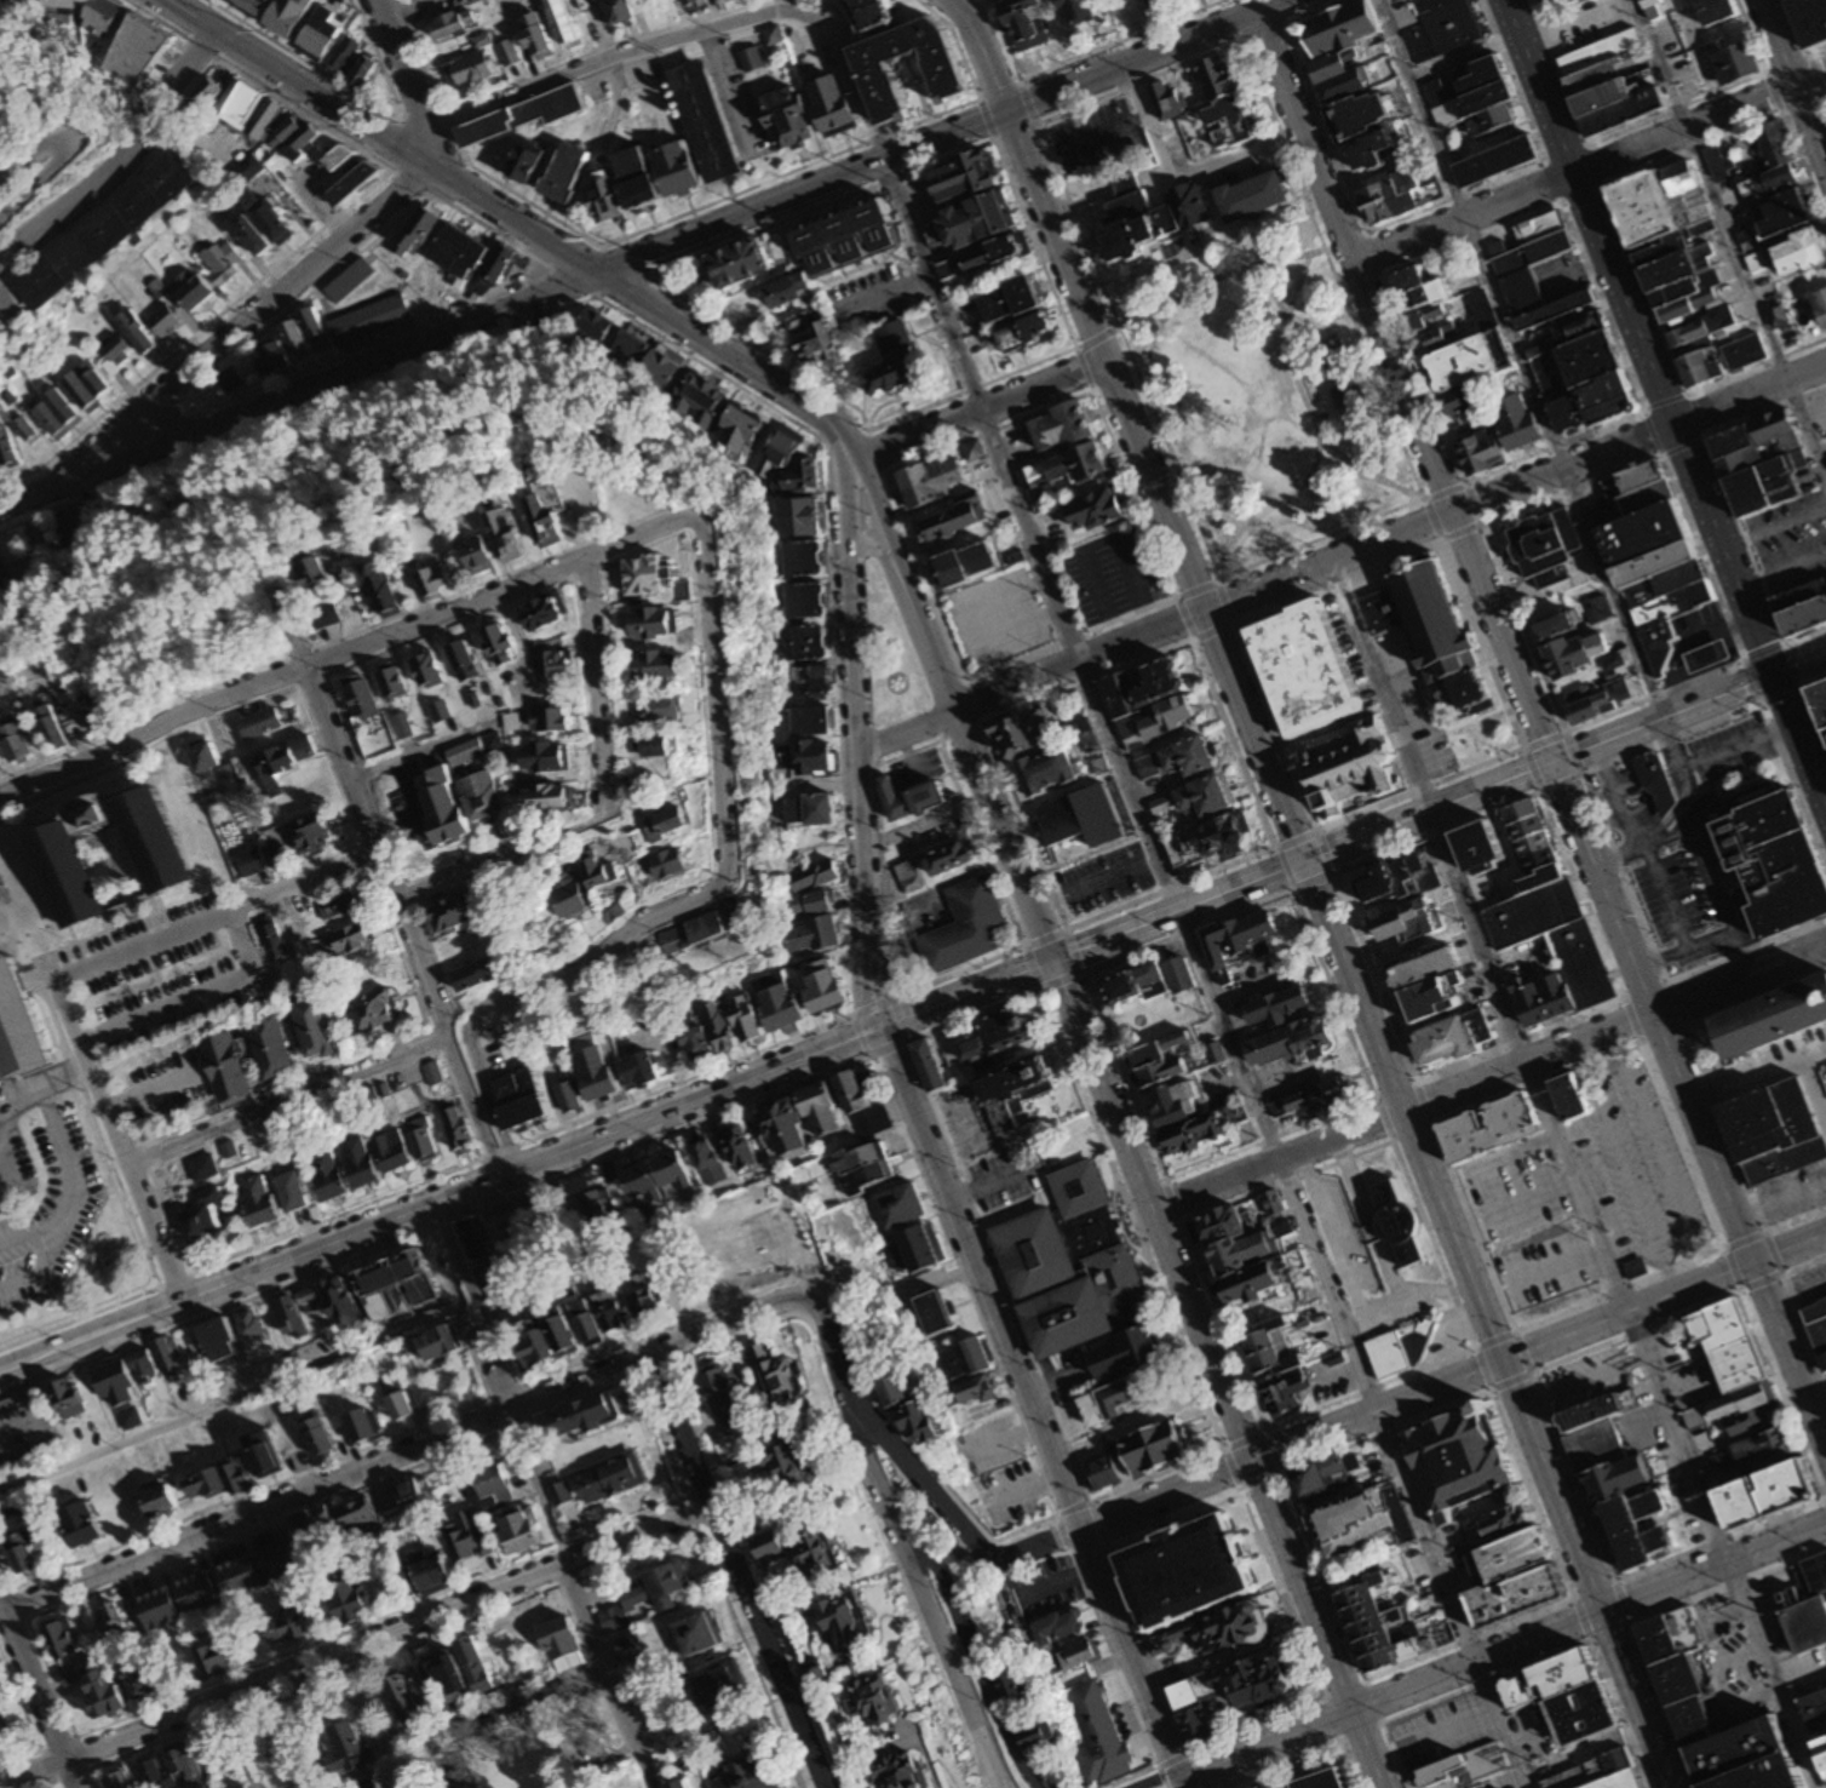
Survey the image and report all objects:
road: (403, 10)
road: (695, 33)
road: (980, 52)
road: (1152, 56)
road: (408, 80)
road: (1793, 85)
road: (1144, 124)
road: (1699, 126)
road: (380, 136)
road: (1279, 136)
road: (1084, 138)
road: (116, 150)
road: (64, 153)
road: (1233, 162)
road: (803, 190)
road: (1074, 216)
road: (1463, 219)
road: (1730, 239)
road: (1334, 245)
road: (690, 258)
road: (1354, 264)
road: (1236, 271)
road: (880, 293)
road: (0, 323)
road: (241, 327)
road: (1109, 333)
road: (1153, 342)
road: (682, 354)
road: (730, 356)
road: (1518, 356)
road: (1078, 357)
road: (1106, 360)
building: (1705, 374)
road: (299, 391)
road: (1746, 395)
building: (1608, 399)
park: (1265, 400)
road: (978, 402)
road: (1385, 403)
road: (1660, 411)
road: (1815, 418)
road: (1164, 436)
road: (1323, 440)
road: (882, 463)
road: (1561, 469)
building: (1767, 485)
road: (1435, 495)
road: (1728, 498)
road: (1429, 510)
road: (1482, 523)
road: (1770, 529)
road: (1321, 539)
road: (871, 544)
road: (1098, 544)
building: (1544, 548)
road: (690, 550)
road: (1328, 561)
road: (1779, 574)
road: (1207, 584)
road: (1223, 590)
road: (450, 595)
building: (1801, 596)
road: (1172, 597)
building: (1382, 611)
building: (1804, 617)
road: (964, 629)
building: (1440, 636)
road: (1503, 636)
road: (1193, 640)
road: (1190, 641)
road: (352, 651)
building: (1655, 651)
park: (890, 658)
road: (1742, 659)
building: (1305, 670)
traffic signals: (1764, 672)
road: (920, 676)
road: (1030, 678)
road: (906, 682)
road: (1803, 687)
road: (872, 692)
road: (584, 698)
road: (714, 700)
building: (1821, 701)
road: (1810, 703)
road: (948, 706)
road: (1455, 726)
road: (1488, 732)
road: (857, 740)
road: (1521, 746)
road: (1733, 747)
road: (417, 751)
building: (1351, 763)
road: (951, 768)
road: (1581, 772)
building: (1653, 775)
road: (1676, 776)
road: (1589, 790)
road: (1541, 792)
road: (601, 800)
road: (1440, 804)
road: (1624, 818)
road: (366, 819)
road: (924, 819)
building: (1083, 819)
road: (384, 837)
building: (1531, 838)
building: (1478, 849)
building: (157, 859)
building: (1774, 859)
road: (727, 865)
road: (369, 872)
road: (1334, 873)
building: (1397, 878)
building: (1538, 879)
road: (1093, 882)
building: (1529, 913)
road: (213, 916)
building: (1407, 921)
building: (965, 925)
road: (1730, 930)
road: (633, 941)
road: (426, 945)
road: (1742, 951)
road: (1659, 958)
traffic signals: (1053, 959)
building: (1580, 963)
building: (1423, 967)
road: (1081, 972)
road: (1201, 974)
road: (534, 987)
road: (966, 993)
road: (191, 996)
building: (1434, 999)
building: (1541, 1001)
road: (1676, 1004)
road: (1632, 1020)
building: (1775, 1021)
building: (17, 1028)
road: (1602, 1030)
building: (995, 1037)
building: (1452, 1038)
road: (907, 1041)
road: (875, 1070)
parking lot: (1751, 1071)
road: (1810, 1077)
road: (1746, 1083)
parking lot: (167, 1088)
road: (1710, 1089)
road: (36, 1091)
road: (151, 1091)
road: (625, 1091)
road: (458, 1094)
building: (1012, 1094)
road: (1374, 1098)
building: (1569, 1098)
road: (287, 1099)
road: (1423, 1101)
road: (1688, 1101)
road: (476, 1108)
road: (1825, 1112)
road: (592, 1116)
road: (1383, 1118)
road: (1431, 1122)
building: (1489, 1128)
building: (1776, 1130)
road: (119, 1142)
road: (1659, 1152)
road: (1515, 1153)
road: (1277, 1159)
road: (64, 1161)
road: (1623, 1167)
road: (1574, 1174)
road: (1, 1176)
road: (989, 1184)
parking lot: (1590, 1194)
road: (1780, 1194)
road: (528, 1197)
road: (1437, 1198)
road: (1533, 1198)
road: (440, 1199)
road: (1175, 1200)
road: (1165, 1203)
park: (527, 1219)
building: (1396, 1222)
road: (1333, 1230)
road: (29, 1231)
building: (1070, 1265)
road: (1561, 1268)
road: (42, 1272)
road: (1780, 1272)
building: (396, 1286)
road: (1403, 1294)
road: (1798, 1297)
road: (1795, 1306)
road: (217, 1310)
building: (1818, 1322)
building: (1719, 1323)
road: (759, 1329)
road: (1204, 1334)
building: (1400, 1346)
road: (1474, 1348)
building: (1122, 1351)
building: (1825, 1358)
road: (578, 1364)
building: (1739, 1364)
road: (1532, 1372)
road: (1452, 1377)
road: (1584, 1379)
road: (232, 1396)
building: (1110, 1400)
road: (1030, 1403)
building: (1745, 1406)
building: (1596, 1409)
road: (1386, 1431)
road: (998, 1437)
building: (1601, 1443)
road: (1223, 1445)
building: (1763, 1448)
road: (401, 1449)
building: (1139, 1452)
traffic signals: (1252, 1459)
building: (1460, 1460)
road: (1282, 1472)
building: (1328, 1473)
building: (1623, 1475)
building: (1784, 1484)
road: (1022, 1488)
road: (542, 1495)
road: (334, 1497)
road: (1824, 1498)
building: (1740, 1501)
road: (1825, 1501)
road: (1076, 1505)
building: (1633, 1511)
road: (955, 1518)
building: (1505, 1520)
building: (1357, 1521)
road: (902, 1542)
building: (1640, 1545)
building: (1514, 1555)
building: (1187, 1569)
road: (737, 1571)
road: (719, 1582)
road: (1056, 1586)
building: (1516, 1593)
road: (1623, 1603)
building: (1805, 1604)
road: (1587, 1614)
road: (1646, 1616)
road: (1728, 1616)
road: (1585, 1618)
building: (1372, 1624)
building: (1218, 1627)
road: (341, 1629)
building: (1056, 1629)
road: (1469, 1639)
building: (1660, 1640)
road: (355, 1645)
road: (1740, 1655)
building: (1069, 1657)
road: (976, 1663)
road: (1529, 1663)
building: (1554, 1679)
building: (1679, 1680)
road: (1804, 1680)
road: (306, 1683)
building: (1010, 1683)
road: (1122, 1683)
building: (1229, 1691)
road: (38, 1694)
road: (1322, 1698)
road: (1753, 1700)
road: (62, 1703)
road: (518, 1704)
building: (1587, 1710)
building: (1815, 1710)
building: (1692, 1721)
road: (1382, 1723)
road: (586, 1724)
building: (1037, 1732)
building: (1093, 1735)
road: (1014, 1736)
road: (1435, 1736)
road: (919, 1743)
road: (1267, 1744)
building: (1822, 1746)
road: (1366, 1748)
road: (1307, 1752)
park: (557, 1753)
road: (517, 1755)
road: (1181, 1755)
building: (1746, 1758)
road: (944, 1766)
building: (1474, 1769)
building: (894, 1770)
building: (1598, 1772)
building: (1320, 1780)
road: (1167, 1782)
road: (1183, 1783)
building: (1279, 1787)

